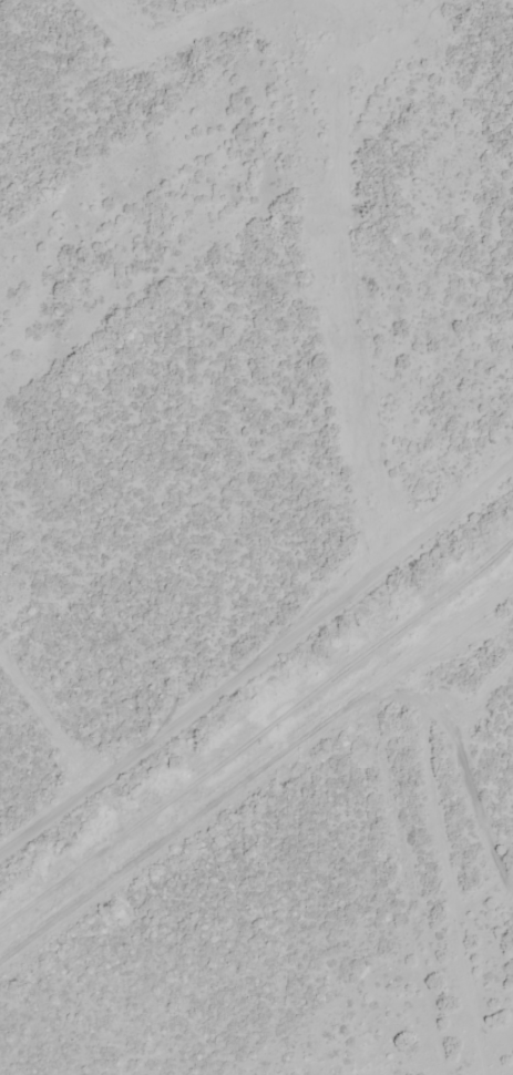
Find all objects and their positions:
road: (454, 70)
road: (345, 626)
road: (256, 790)

